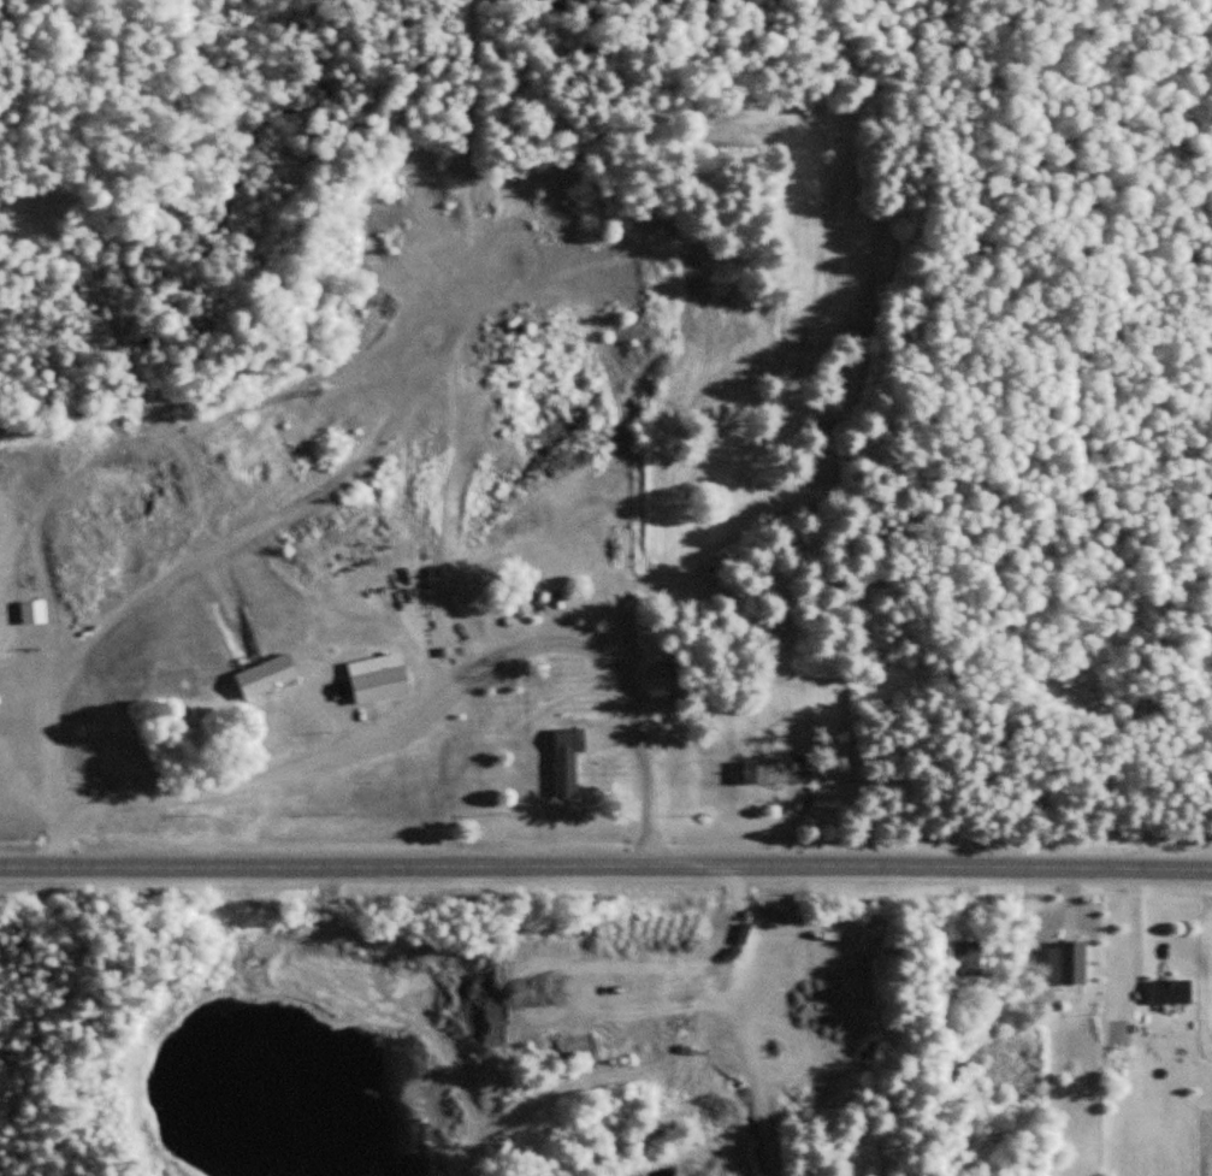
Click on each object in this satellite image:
building: (31, 611)
building: (266, 675)
building: (380, 685)
building: (566, 763)
building: (780, 770)
road: (605, 861)
building: (966, 957)
building: (1170, 992)

